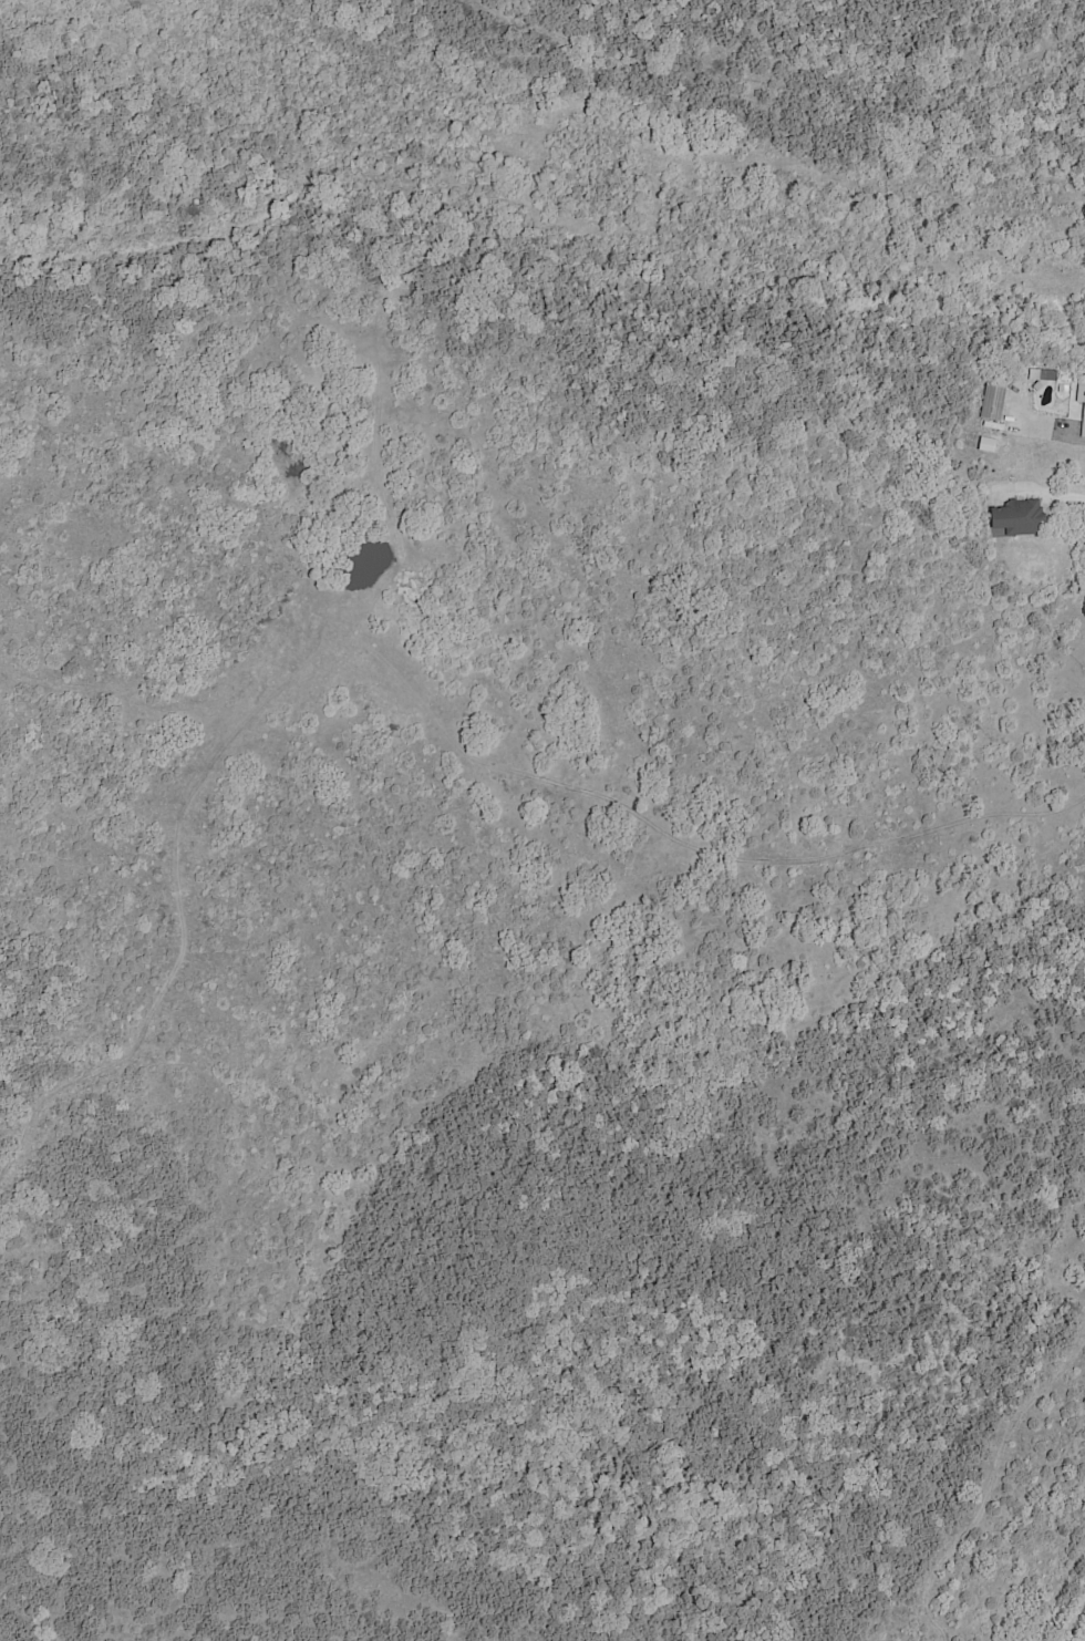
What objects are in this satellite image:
building: (1084, 390)
building: (992, 403)
road: (1083, 441)
road: (1079, 504)

